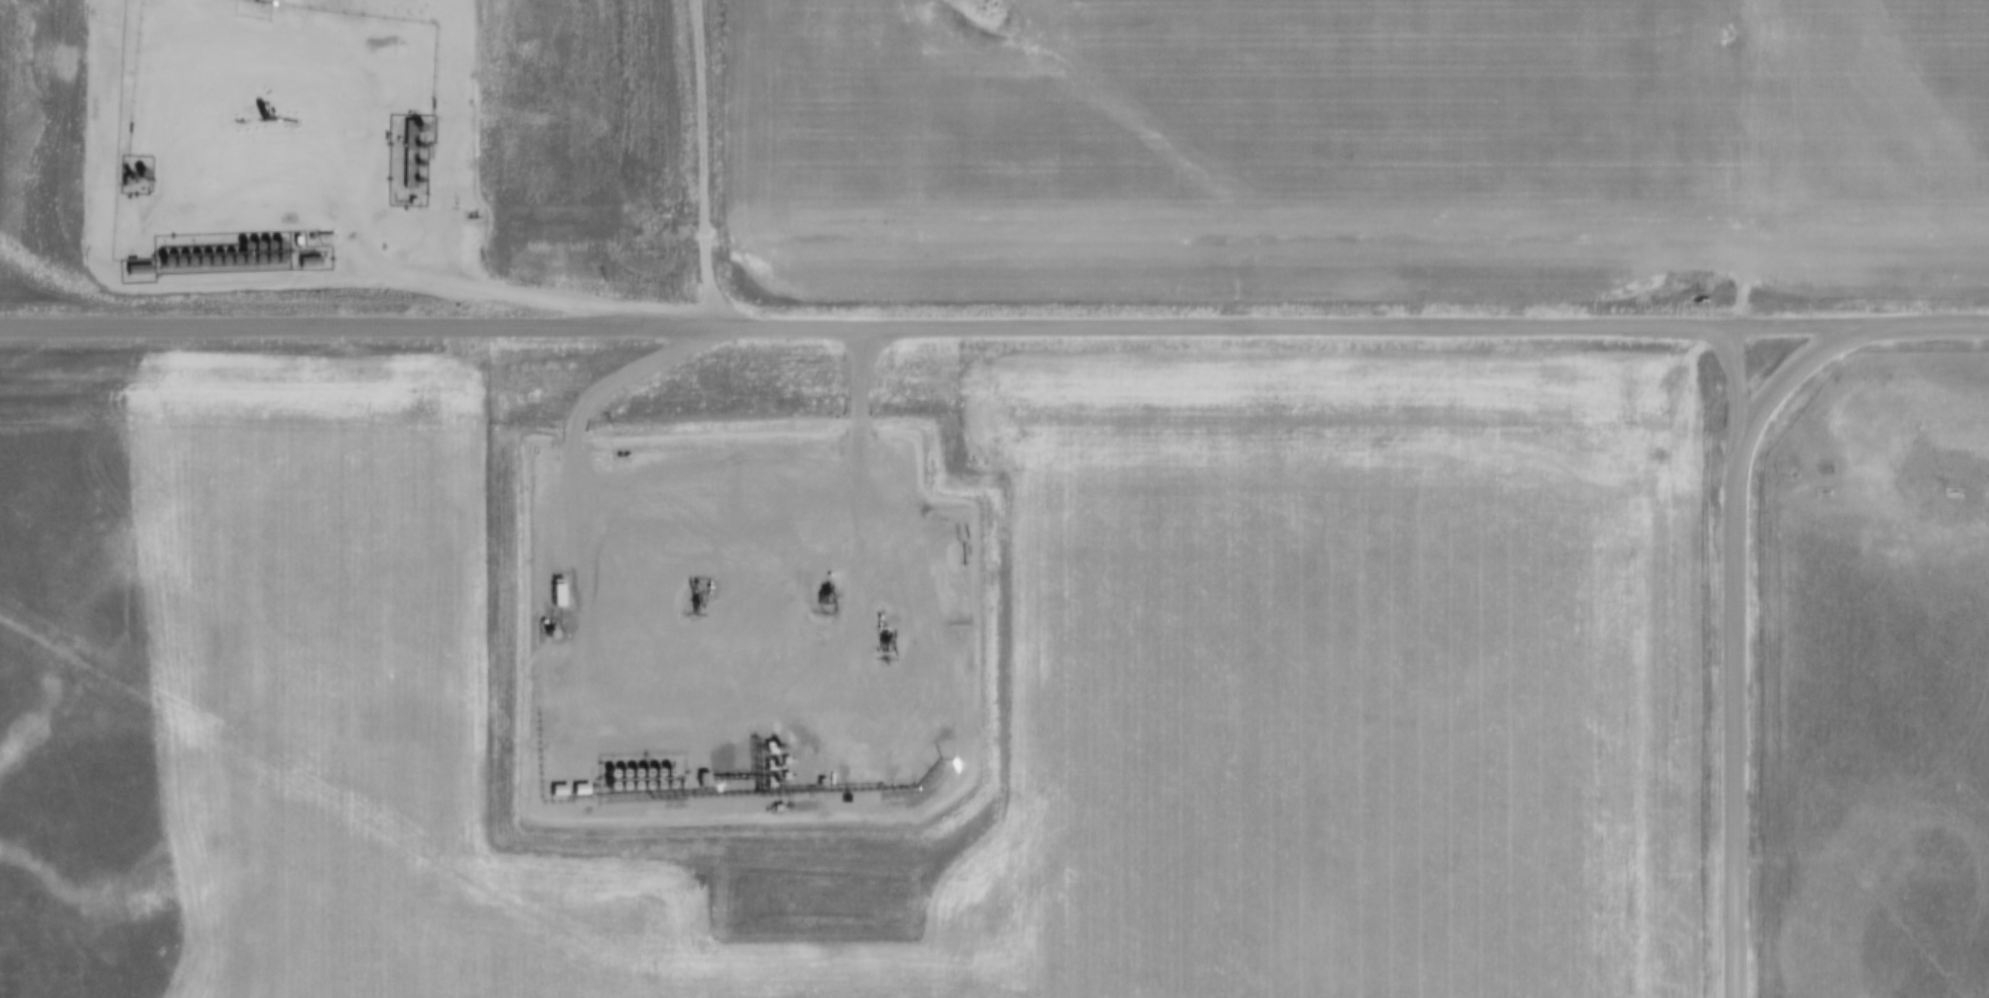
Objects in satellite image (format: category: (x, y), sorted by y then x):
road: (1128, 333)
road: (364, 338)
road: (1841, 338)
road: (1730, 378)
road: (1730, 719)

